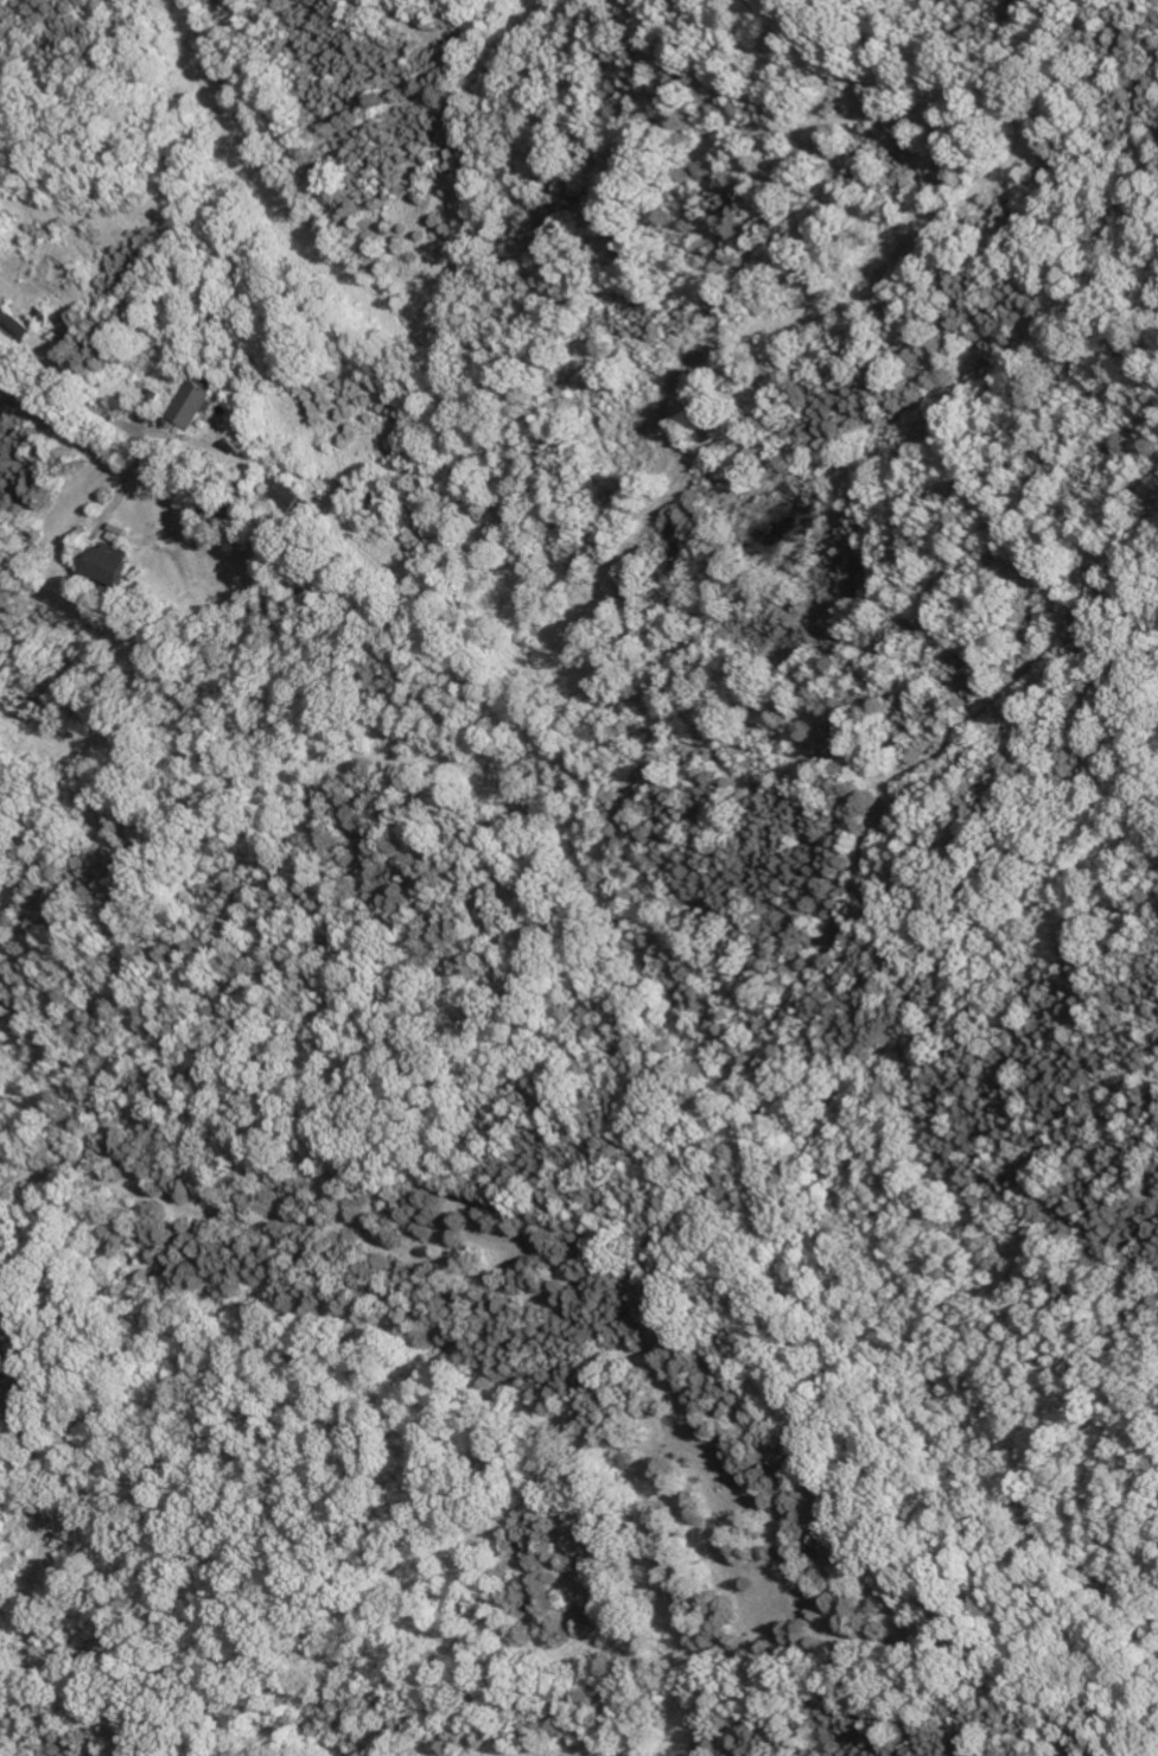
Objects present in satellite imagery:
building: (190, 403)
road: (104, 440)
building: (116, 562)

